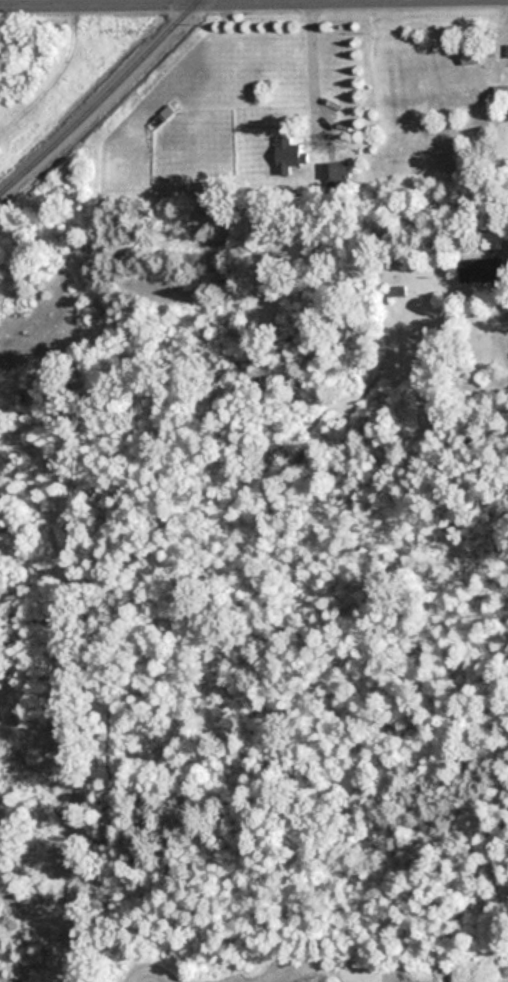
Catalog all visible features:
road: (195, 2)
building: (507, 51)
building: (469, 55)
road: (306, 66)
railway: (102, 99)
building: (290, 157)
building: (491, 240)
building: (481, 269)
building: (394, 293)

